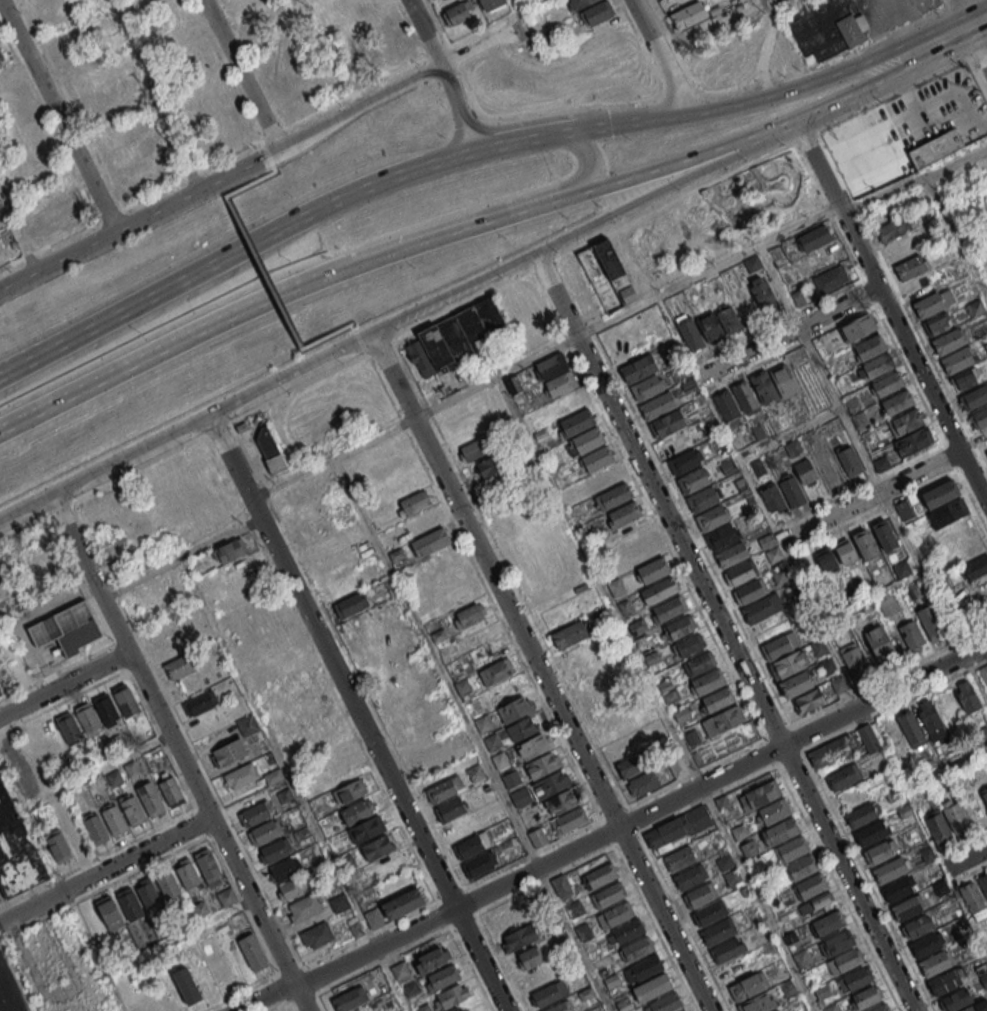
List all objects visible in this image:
building: (775, 0)
building: (578, 3)
building: (491, 4)
building: (459, 12)
building: (597, 12)
road: (969, 13)
building: (687, 15)
building: (258, 20)
road: (981, 23)
building: (827, 27)
road: (483, 30)
road: (428, 31)
building: (178, 35)
road: (981, 38)
building: (394, 44)
road: (486, 44)
road: (938, 44)
road: (769, 47)
road: (438, 52)
building: (70, 53)
road: (665, 57)
building: (1, 59)
road: (837, 73)
road: (246, 75)
building: (86, 80)
road: (910, 87)
road: (963, 92)
road: (357, 93)
building: (94, 98)
road: (836, 104)
road: (363, 105)
road: (461, 107)
road: (709, 111)
road: (58, 116)
road: (926, 124)
road: (613, 125)
road: (276, 133)
road: (528, 139)
road: (267, 148)
building: (935, 148)
road: (770, 153)
building: (124, 154)
road: (277, 154)
road: (592, 160)
road: (274, 164)
road: (666, 167)
road: (810, 175)
road: (916, 179)
road: (252, 183)
park: (737, 197)
road: (539, 202)
road: (827, 211)
road: (135, 222)
building: (892, 229)
road: (957, 234)
road: (570, 235)
road: (429, 237)
building: (814, 238)
road: (259, 240)
road: (846, 248)
building: (777, 253)
building: (601, 262)
building: (753, 263)
road: (543, 265)
building: (913, 269)
road: (265, 272)
building: (831, 278)
road: (573, 292)
road: (868, 292)
building: (763, 294)
road: (829, 294)
building: (625, 295)
building: (798, 297)
building: (931, 305)
road: (461, 306)
building: (975, 307)
road: (893, 308)
road: (793, 311)
building: (729, 317)
road: (843, 321)
building: (937, 324)
building: (711, 326)
road: (591, 327)
building: (861, 328)
road: (790, 331)
building: (690, 332)
road: (331, 334)
road: (357, 334)
road: (366, 335)
road: (741, 338)
building: (456, 339)
road: (805, 339)
building: (950, 343)
road: (171, 344)
road: (363, 346)
road: (378, 347)
building: (872, 348)
road: (548, 352)
road: (366, 354)
road: (368, 354)
road: (25, 361)
building: (960, 361)
road: (25, 363)
building: (554, 366)
road: (752, 366)
building: (881, 367)
road: (299, 368)
building: (639, 371)
road: (908, 372)
building: (563, 385)
building: (890, 385)
building: (648, 389)
building: (745, 397)
building: (975, 399)
building: (569, 401)
building: (900, 403)
road: (225, 404)
building: (475, 404)
building: (660, 406)
building: (728, 408)
building: (980, 420)
building: (581, 422)
building: (907, 423)
building: (670, 425)
building: (468, 430)
building: (759, 431)
building: (591, 441)
building: (914, 441)
road: (944, 444)
building: (474, 449)
building: (986, 450)
building: (270, 451)
road: (950, 455)
road: (911, 458)
building: (600, 459)
building: (849, 459)
building: (687, 463)
road: (105, 465)
building: (728, 466)
building: (488, 467)
road: (874, 471)
building: (805, 472)
road: (874, 477)
building: (696, 482)
road: (925, 485)
building: (791, 490)
road: (872, 495)
building: (943, 495)
road: (661, 496)
building: (618, 497)
road: (971, 497)
building: (773, 498)
building: (706, 500)
road: (888, 502)
building: (413, 503)
road: (821, 503)
road: (647, 507)
building: (948, 512)
building: (626, 515)
building: (714, 519)
building: (422, 522)
road: (692, 528)
road: (836, 530)
building: (634, 532)
building: (885, 534)
building: (723, 537)
building: (430, 541)
road: (780, 541)
building: (865, 544)
building: (967, 549)
building: (845, 551)
building: (734, 556)
road: (185, 557)
building: (827, 561)
building: (975, 568)
building: (901, 569)
building: (656, 571)
road: (511, 574)
building: (743, 575)
road: (113, 587)
building: (616, 587)
road: (485, 589)
building: (665, 590)
building: (752, 593)
building: (351, 605)
building: (889, 605)
building: (673, 609)
building: (761, 610)
building: (467, 615)
building: (931, 622)
power substation: (66, 627)
building: (66, 628)
building: (683, 628)
road: (974, 632)
building: (570, 634)
building: (912, 635)
road: (959, 640)
building: (880, 643)
building: (693, 645)
building: (172, 648)
building: (780, 648)
building: (854, 659)
road: (437, 663)
road: (981, 663)
building: (702, 664)
building: (789, 666)
building: (827, 666)
building: (179, 667)
road: (321, 668)
road: (971, 668)
road: (545, 670)
building: (496, 671)
building: (984, 673)
road: (66, 682)
building: (711, 683)
building: (840, 683)
road: (871, 683)
building: (798, 686)
road: (658, 693)
building: (967, 697)
building: (125, 699)
building: (721, 700)
building: (809, 700)
building: (201, 703)
building: (514, 708)
building: (106, 709)
road: (358, 711)
road: (886, 711)
building: (682, 714)
building: (728, 718)
building: (931, 718)
building: (88, 719)
building: (484, 722)
road: (797, 723)
building: (246, 726)
building: (522, 728)
building: (912, 728)
road: (777, 731)
road: (808, 732)
building: (60, 733)
building: (982, 734)
building: (869, 737)
road: (818, 743)
building: (532, 745)
building: (834, 749)
road: (184, 751)
road: (280, 752)
road: (769, 752)
building: (229, 753)
building: (422, 753)
building: (986, 755)
building: (707, 756)
building: (501, 761)
building: (676, 761)
building: (541, 765)
road: (811, 768)
road: (797, 769)
road: (99, 770)
road: (697, 770)
road: (781, 770)
building: (843, 775)
building: (240, 777)
building: (512, 778)
building: (549, 784)
building: (643, 784)
building: (170, 790)
building: (350, 791)
building: (441, 791)
building: (984, 793)
building: (758, 795)
building: (521, 797)
building: (150, 799)
road: (707, 799)
building: (561, 802)
building: (58, 805)
road: (626, 806)
building: (450, 810)
building: (133, 811)
building: (356, 811)
building: (773, 811)
road: (614, 812)
building: (862, 813)
building: (254, 814)
building: (955, 814)
building: (571, 819)
road: (634, 819)
building: (114, 820)
building: (369, 827)
building: (938, 827)
building: (95, 829)
road: (612, 830)
building: (667, 830)
building: (781, 830)
building: (871, 831)
building: (264, 833)
road: (608, 833)
road: (570, 835)
building: (76, 837)
building: (537, 837)
road: (627, 839)
road: (964, 841)
building: (473, 844)
road: (613, 844)
building: (58, 846)
building: (378, 847)
building: (15, 848)
building: (791, 848)
building: (881, 850)
road: (174, 851)
building: (273, 851)
road: (532, 853)
building: (679, 858)
road: (964, 859)
building: (207, 864)
building: (480, 864)
building: (801, 866)
road: (107, 868)
building: (284, 869)
building: (890, 869)
road: (494, 872)
road: (971, 872)
building: (187, 874)
building: (600, 875)
building: (690, 876)
road: (853, 877)
road: (545, 879)
road: (869, 881)
building: (983, 883)
building: (168, 885)
building: (561, 885)
building: (811, 885)
road: (60, 886)
road: (837, 886)
building: (898, 888)
building: (292, 889)
road: (465, 889)
building: (147, 893)
road: (450, 894)
building: (609, 894)
building: (700, 895)
building: (226, 897)
building: (974, 899)
building: (820, 900)
road: (471, 901)
building: (129, 904)
building: (404, 904)
building: (908, 907)
building: (575, 909)
building: (304, 910)
building: (110, 912)
building: (709, 912)
road: (444, 913)
building: (618, 913)
building: (373, 920)
road: (463, 920)
road: (685, 920)
building: (829, 923)
building: (920, 925)
road: (655, 928)
building: (627, 930)
road: (371, 932)
building: (719, 932)
building: (522, 935)
road: (180, 936)
building: (317, 937)
road: (573, 939)
building: (838, 942)
building: (926, 944)
building: (637, 948)
building: (727, 949)
building: (253, 952)
building: (526, 958)
road: (385, 959)
building: (432, 959)
building: (846, 959)
road: (500, 961)
building: (934, 963)
road: (306, 967)
road: (471, 967)
building: (646, 967)
road: (291, 970)
road: (17, 975)
building: (442, 977)
road: (394, 978)
building: (856, 978)
road: (311, 979)
building: (945, 981)
building: (749, 986)
building: (652, 987)
road: (285, 988)
building: (189, 989)
road: (241, 991)
road: (318, 991)
building: (549, 993)
building: (451, 996)
road: (304, 997)
building: (865, 997)
building: (957, 999)
building: (173, 1000)
building: (350, 1000)
road: (319, 1002)
building: (666, 1002)
building: (149, 1004)
road: (279, 1004)
building: (625, 1004)
building: (755, 1004)
road: (2, 1005)
road: (295, 1006)
building: (558, 1007)
building: (880, 1007)
building: (973, 1008)
building: (456, 1009)
building: (683, 1010)
building: (774, 1010)

